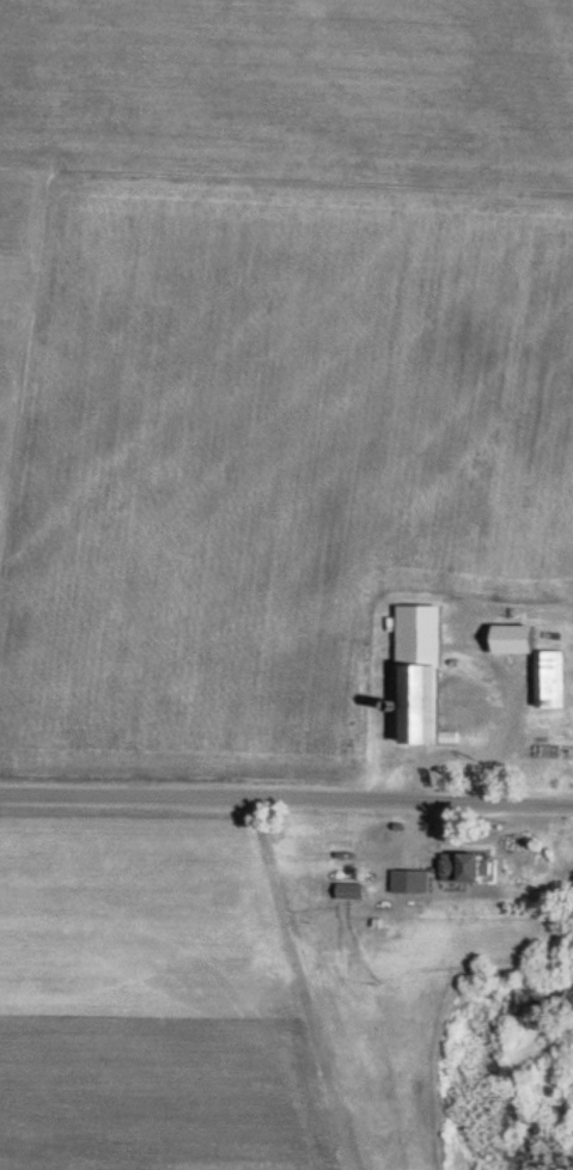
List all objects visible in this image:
building: (429, 676)
road: (286, 804)
building: (470, 871)
building: (416, 884)
building: (356, 895)

